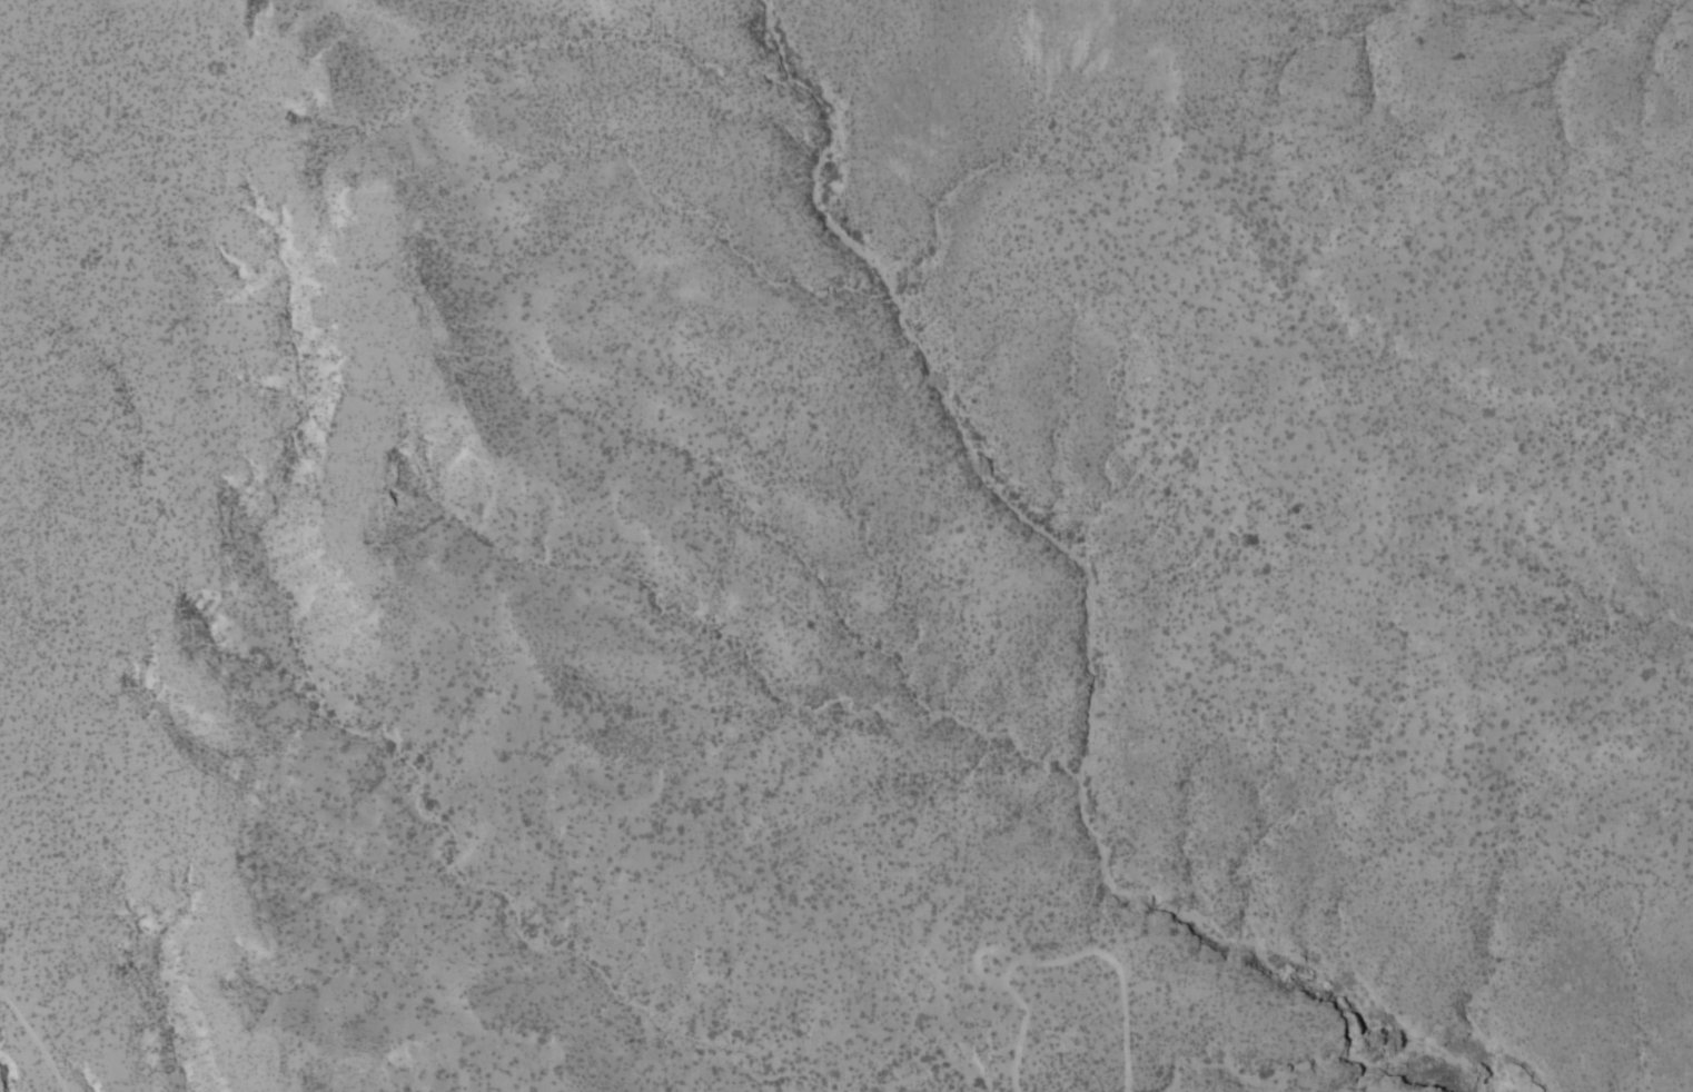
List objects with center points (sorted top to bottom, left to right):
road: (1029, 957)
road: (34, 1041)

